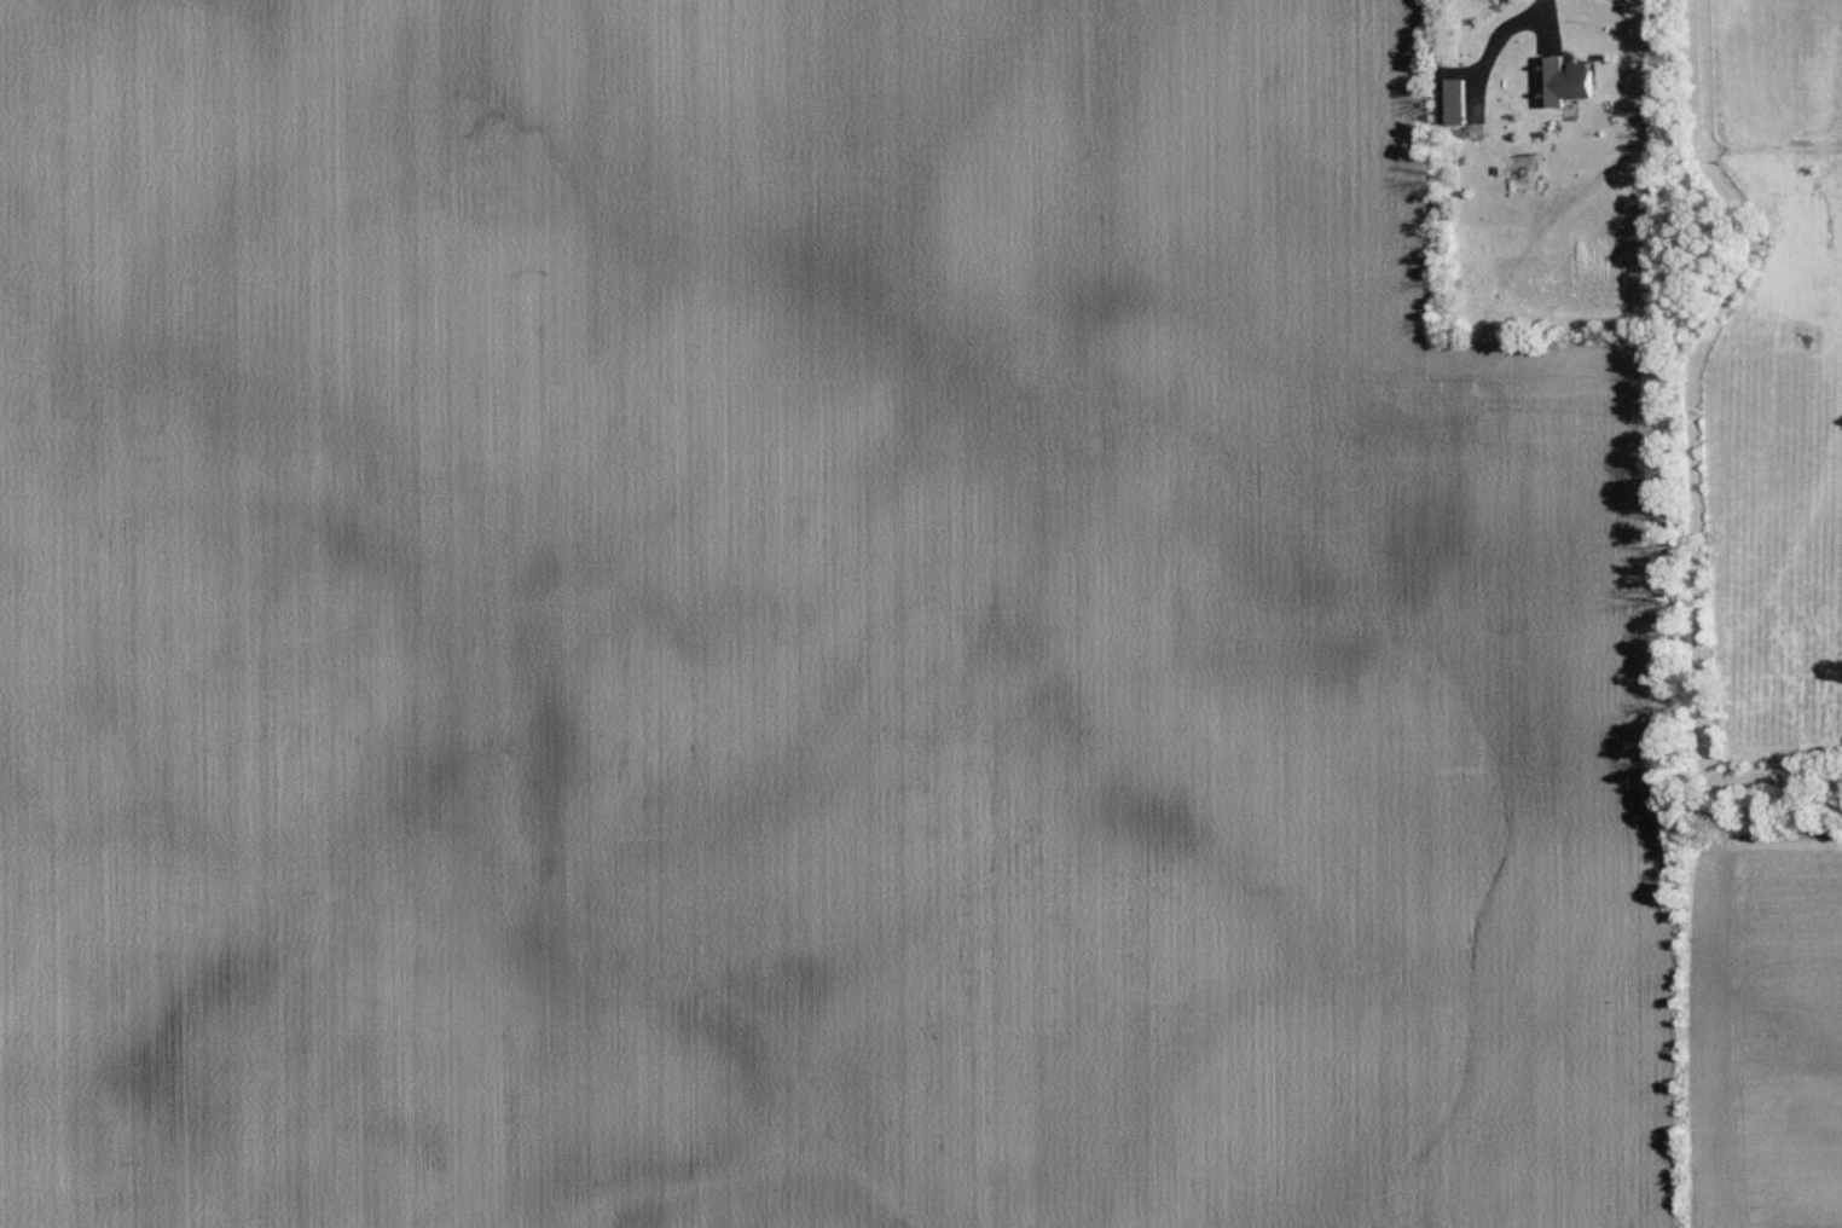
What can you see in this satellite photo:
road: (1552, 5)
building: (1455, 102)

